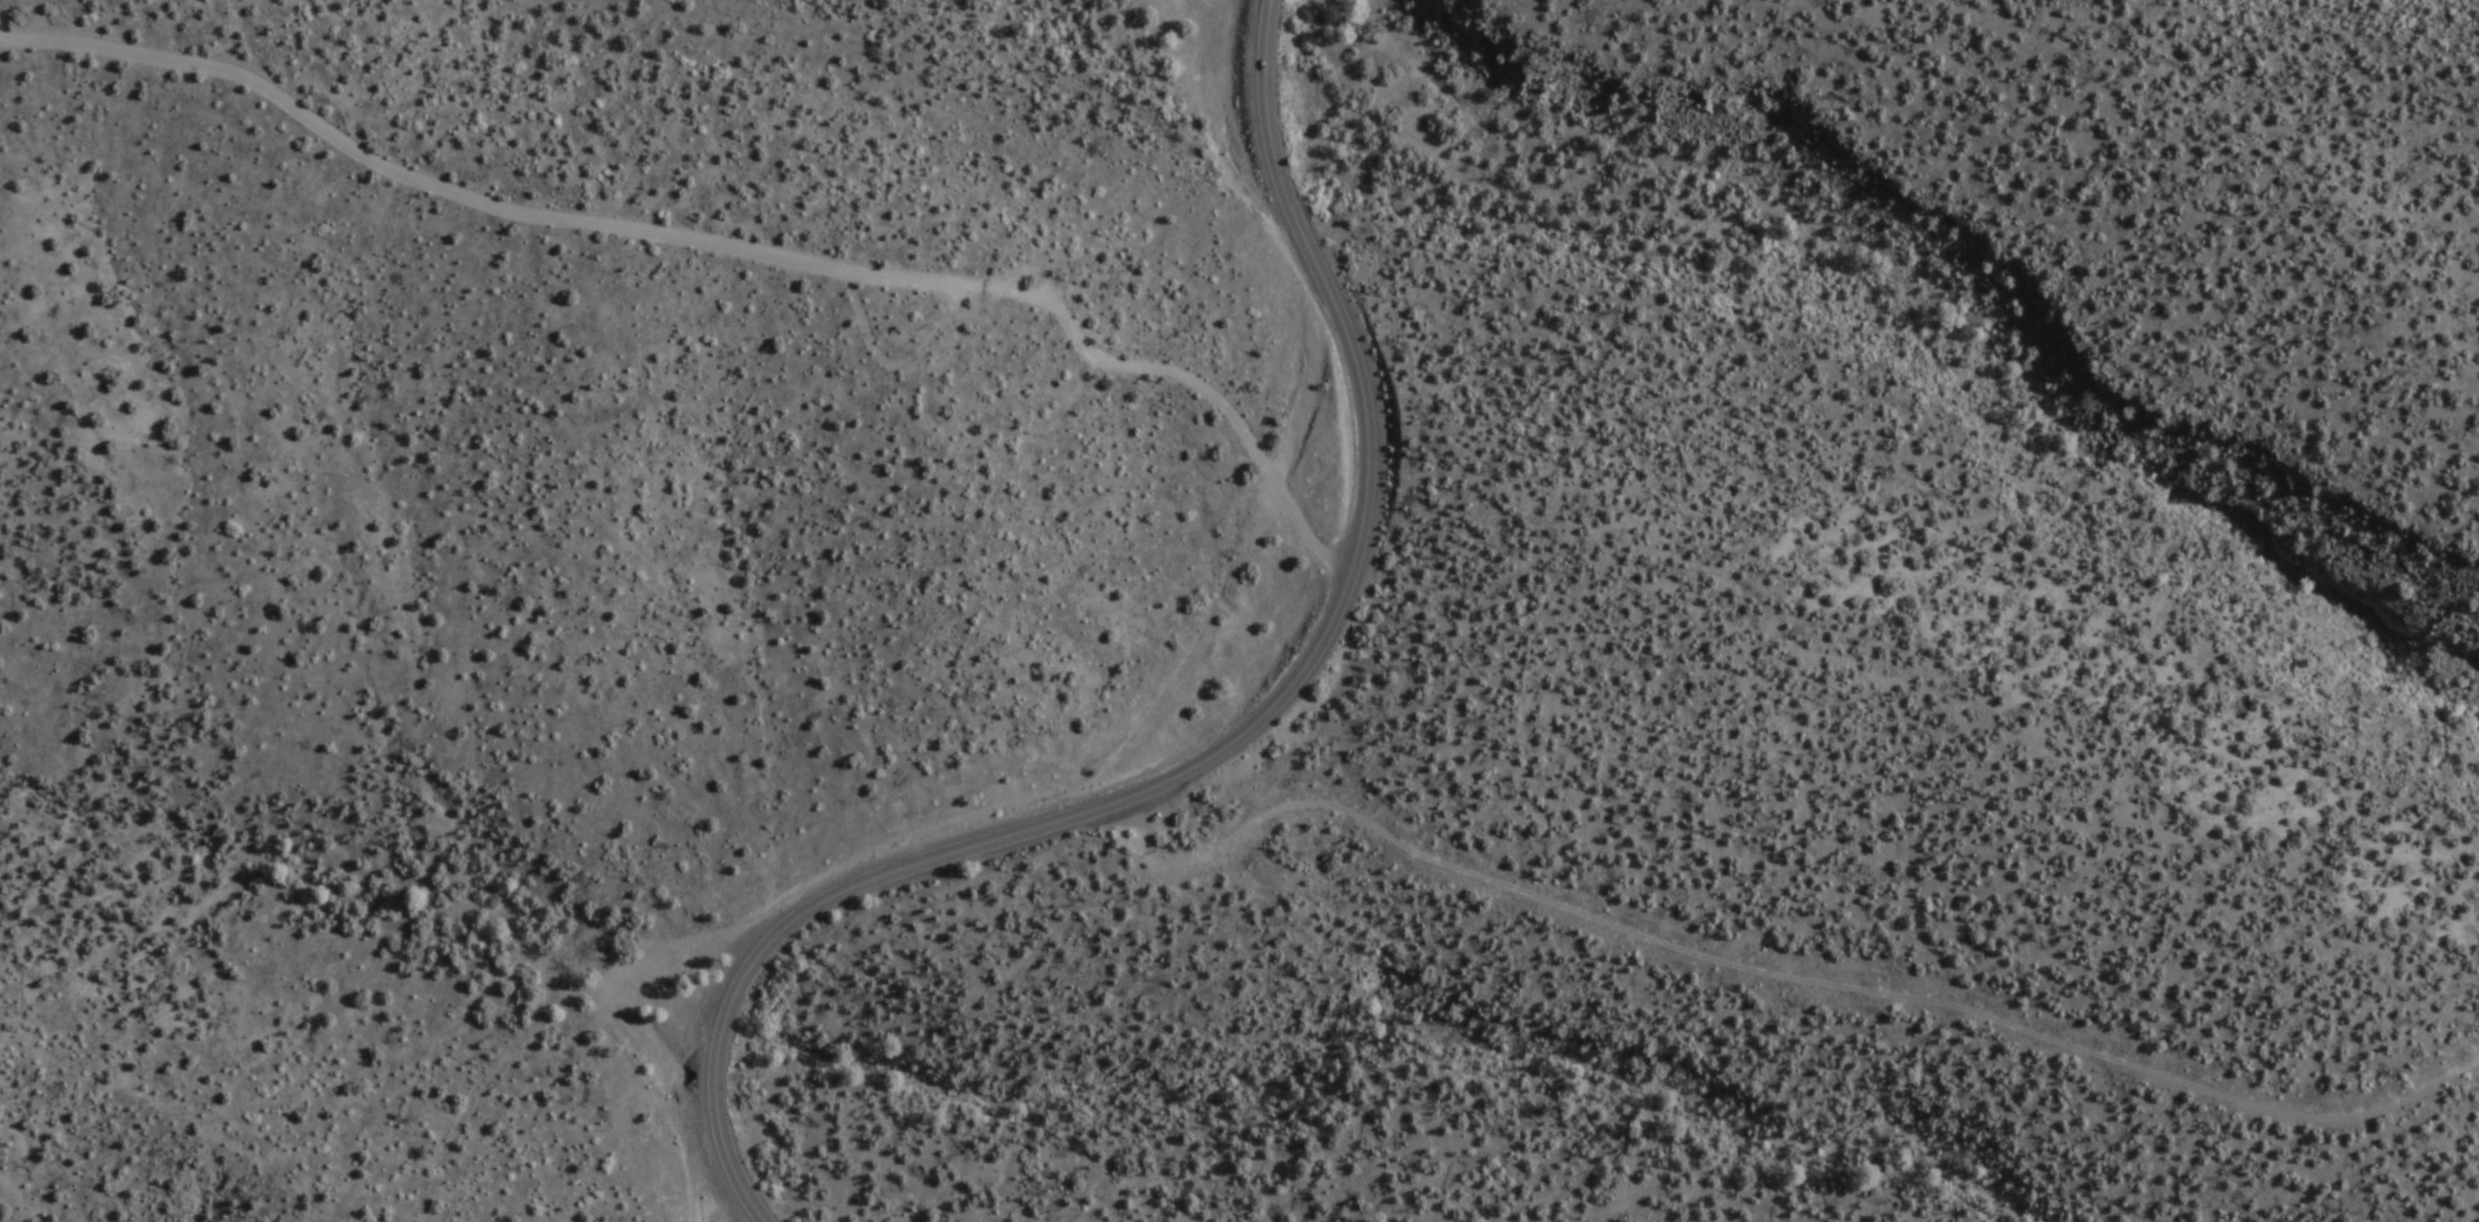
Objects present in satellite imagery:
road: (710, 245)
road: (1226, 745)
road: (1772, 974)

